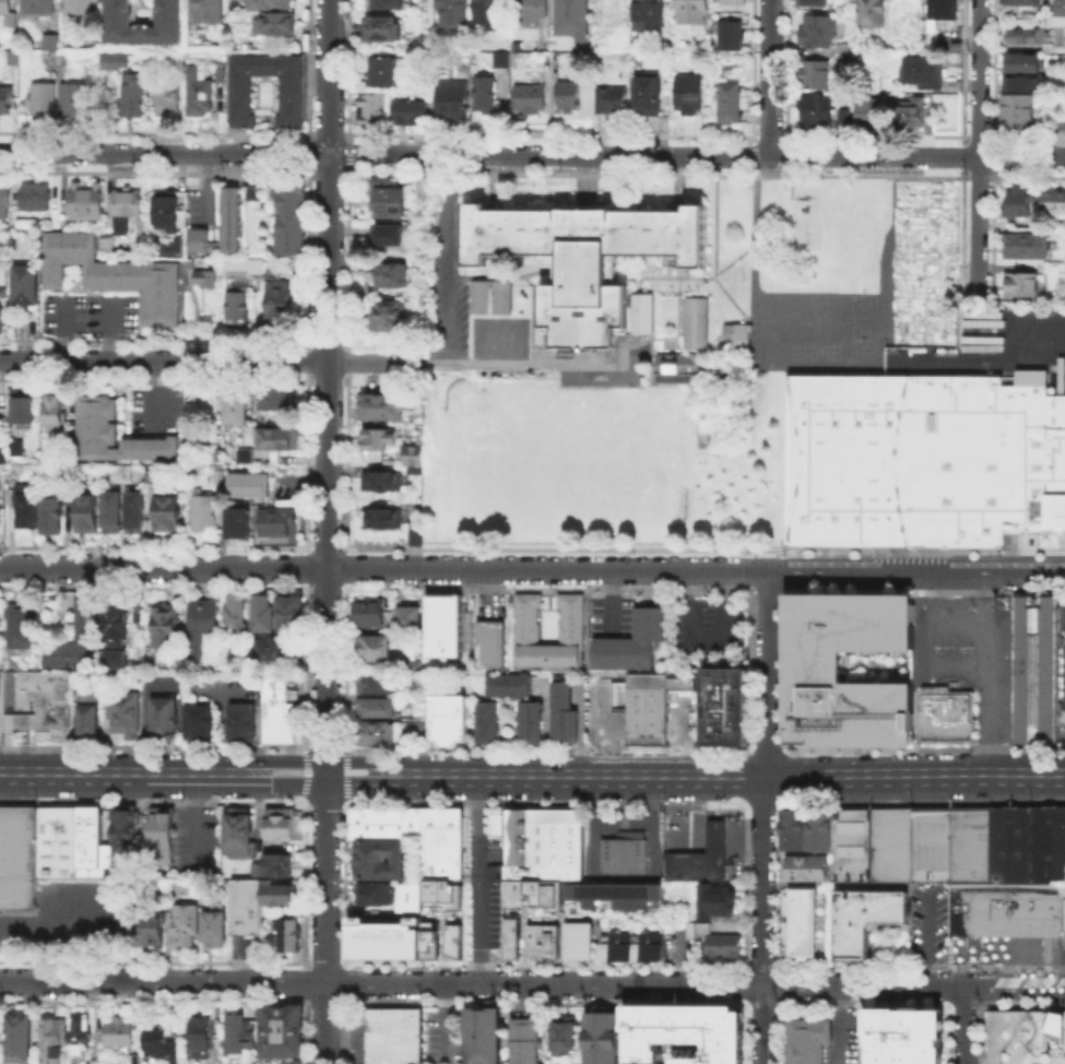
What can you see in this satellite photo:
building: (732, 2)
building: (1023, 2)
building: (391, 3)
building: (809, 3)
building: (271, 4)
building: (81, 7)
building: (5, 8)
building: (38, 8)
building: (533, 8)
building: (1058, 8)
building: (611, 10)
building: (944, 10)
building: (689, 11)
building: (119, 12)
building: (209, 12)
building: (869, 13)
building: (493, 14)
building: (454, 15)
building: (651, 15)
building: (573, 19)
building: (276, 23)
building: (384, 27)
building: (813, 31)
building: (548, 36)
building: (731, 36)
building: (1026, 36)
building: (51, 43)
building: (850, 48)
building: (13, 58)
building: (58, 59)
building: (117, 60)
building: (504, 60)
building: (387, 70)
building: (922, 72)
building: (813, 74)
building: (222, 76)
road: (770, 79)
building: (691, 93)
building: (651, 94)
building: (241, 95)
building: (570, 95)
building: (169, 96)
building: (487, 96)
building: (1021, 96)
building: (137, 97)
building: (201, 97)
building: (5, 99)
building: (454, 99)
building: (532, 99)
building: (613, 99)
building: (43, 101)
building: (73, 102)
building: (727, 102)
building: (814, 110)
building: (412, 113)
building: (908, 113)
building: (372, 114)
building: (866, 115)
building: (842, 117)
building: (1060, 123)
road: (978, 149)
road: (532, 155)
building: (251, 190)
building: (390, 198)
building: (36, 199)
building: (5, 203)
building: (90, 203)
building: (1010, 203)
building: (1050, 204)
building: (128, 210)
building: (163, 213)
building: (228, 217)
building: (288, 217)
park: (821, 233)
building: (390, 236)
building: (201, 239)
building: (108, 245)
building: (1021, 248)
building: (177, 249)
building: (577, 257)
road: (450, 259)
building: (494, 267)
building: (245, 270)
building: (116, 276)
building: (391, 276)
building: (208, 280)
building: (26, 287)
building: (1017, 287)
building: (945, 291)
building: (494, 299)
building: (280, 300)
building: (239, 305)
parking lot: (465, 305)
building: (643, 314)
parking lot: (91, 315)
building: (388, 316)
building: (0, 318)
building: (865, 319)
building: (698, 324)
building: (734, 334)
road: (1033, 350)
road: (164, 360)
road: (372, 362)
road: (523, 363)
building: (674, 367)
road: (762, 367)
road: (328, 388)
building: (277, 399)
building: (238, 406)
building: (382, 409)
building: (24, 410)
building: (56, 411)
parking lot: (154, 411)
building: (117, 436)
building: (275, 437)
building: (380, 439)
building: (12, 453)
building: (242, 454)
building: (417, 460)
park: (605, 460)
building: (921, 460)
building: (156, 477)
building: (221, 477)
building: (384, 484)
building: (250, 487)
building: (0, 505)
building: (28, 508)
building: (205, 511)
building: (57, 515)
building: (88, 515)
building: (115, 515)
building: (138, 516)
building: (169, 516)
building: (236, 521)
building: (275, 523)
building: (381, 527)
road: (383, 569)
road: (916, 571)
road: (606, 601)
building: (263, 614)
building: (289, 614)
building: (237, 615)
building: (370, 615)
parking lot: (612, 617)
building: (571, 618)
building: (411, 619)
building: (203, 624)
building: (24, 626)
building: (168, 627)
building: (118, 628)
building: (446, 628)
parking lot: (711, 631)
building: (80, 637)
building: (635, 642)
road: (925, 643)
building: (492, 646)
building: (374, 647)
parking lot: (966, 649)
building: (275, 653)
building: (114, 658)
building: (814, 665)
building: (1033, 666)
parking lot: (1062, 666)
road: (993, 673)
road: (767, 674)
building: (686, 682)
building: (381, 685)
building: (43, 706)
building: (381, 708)
building: (729, 708)
building: (650, 710)
building: (566, 712)
building: (126, 714)
building: (277, 714)
parking lot: (685, 714)
building: (945, 714)
building: (166, 721)
building: (449, 721)
building: (92, 722)
building: (614, 723)
building: (202, 724)
building: (241, 724)
building: (489, 724)
building: (383, 734)
road: (162, 776)
road: (356, 777)
road: (726, 777)
road: (194, 815)
building: (279, 823)
building: (383, 823)
building: (791, 828)
building: (817, 828)
building: (122, 831)
building: (238, 831)
building: (161, 834)
building: (440, 842)
building: (850, 842)
building: (890, 842)
building: (949, 842)
building: (1027, 842)
building: (544, 846)
building: (44, 849)
building: (625, 855)
building: (698, 855)
building: (379, 859)
building: (275, 863)
building: (806, 866)
road: (326, 879)
road: (473, 880)
building: (276, 891)
building: (411, 891)
building: (376, 892)
building: (441, 892)
building: (616, 894)
building: (534, 895)
building: (713, 899)
building: (245, 905)
building: (1004, 907)
road: (367, 910)
building: (861, 918)
parking lot: (489, 919)
road: (761, 920)
building: (800, 920)
building: (186, 923)
road: (61, 926)
building: (152, 926)
building: (213, 927)
building: (288, 933)
building: (429, 935)
building: (452, 936)
building: (383, 937)
building: (510, 937)
building: (577, 938)
building: (715, 938)
building: (542, 939)
building: (631, 944)
road: (481, 984)
road: (1014, 986)
road: (443, 1022)
road: (324, 1024)
road: (837, 1025)
road: (963, 1025)
building: (118, 1030)
building: (238, 1031)
building: (281, 1031)
building: (683, 1032)
building: (80, 1035)
building: (900, 1035)
parking lot: (355, 1036)
building: (391, 1036)
parking lot: (443, 1036)
building: (483, 1036)
building: (561, 1036)
parking lot: (851, 1036)
building: (1026, 1036)
building: (19, 1037)
building: (200, 1037)
building: (600, 1037)
building: (806, 1039)
building: (523, 1040)
building: (155, 1041)
building: (55, 1043)
building: (90, 1063)

